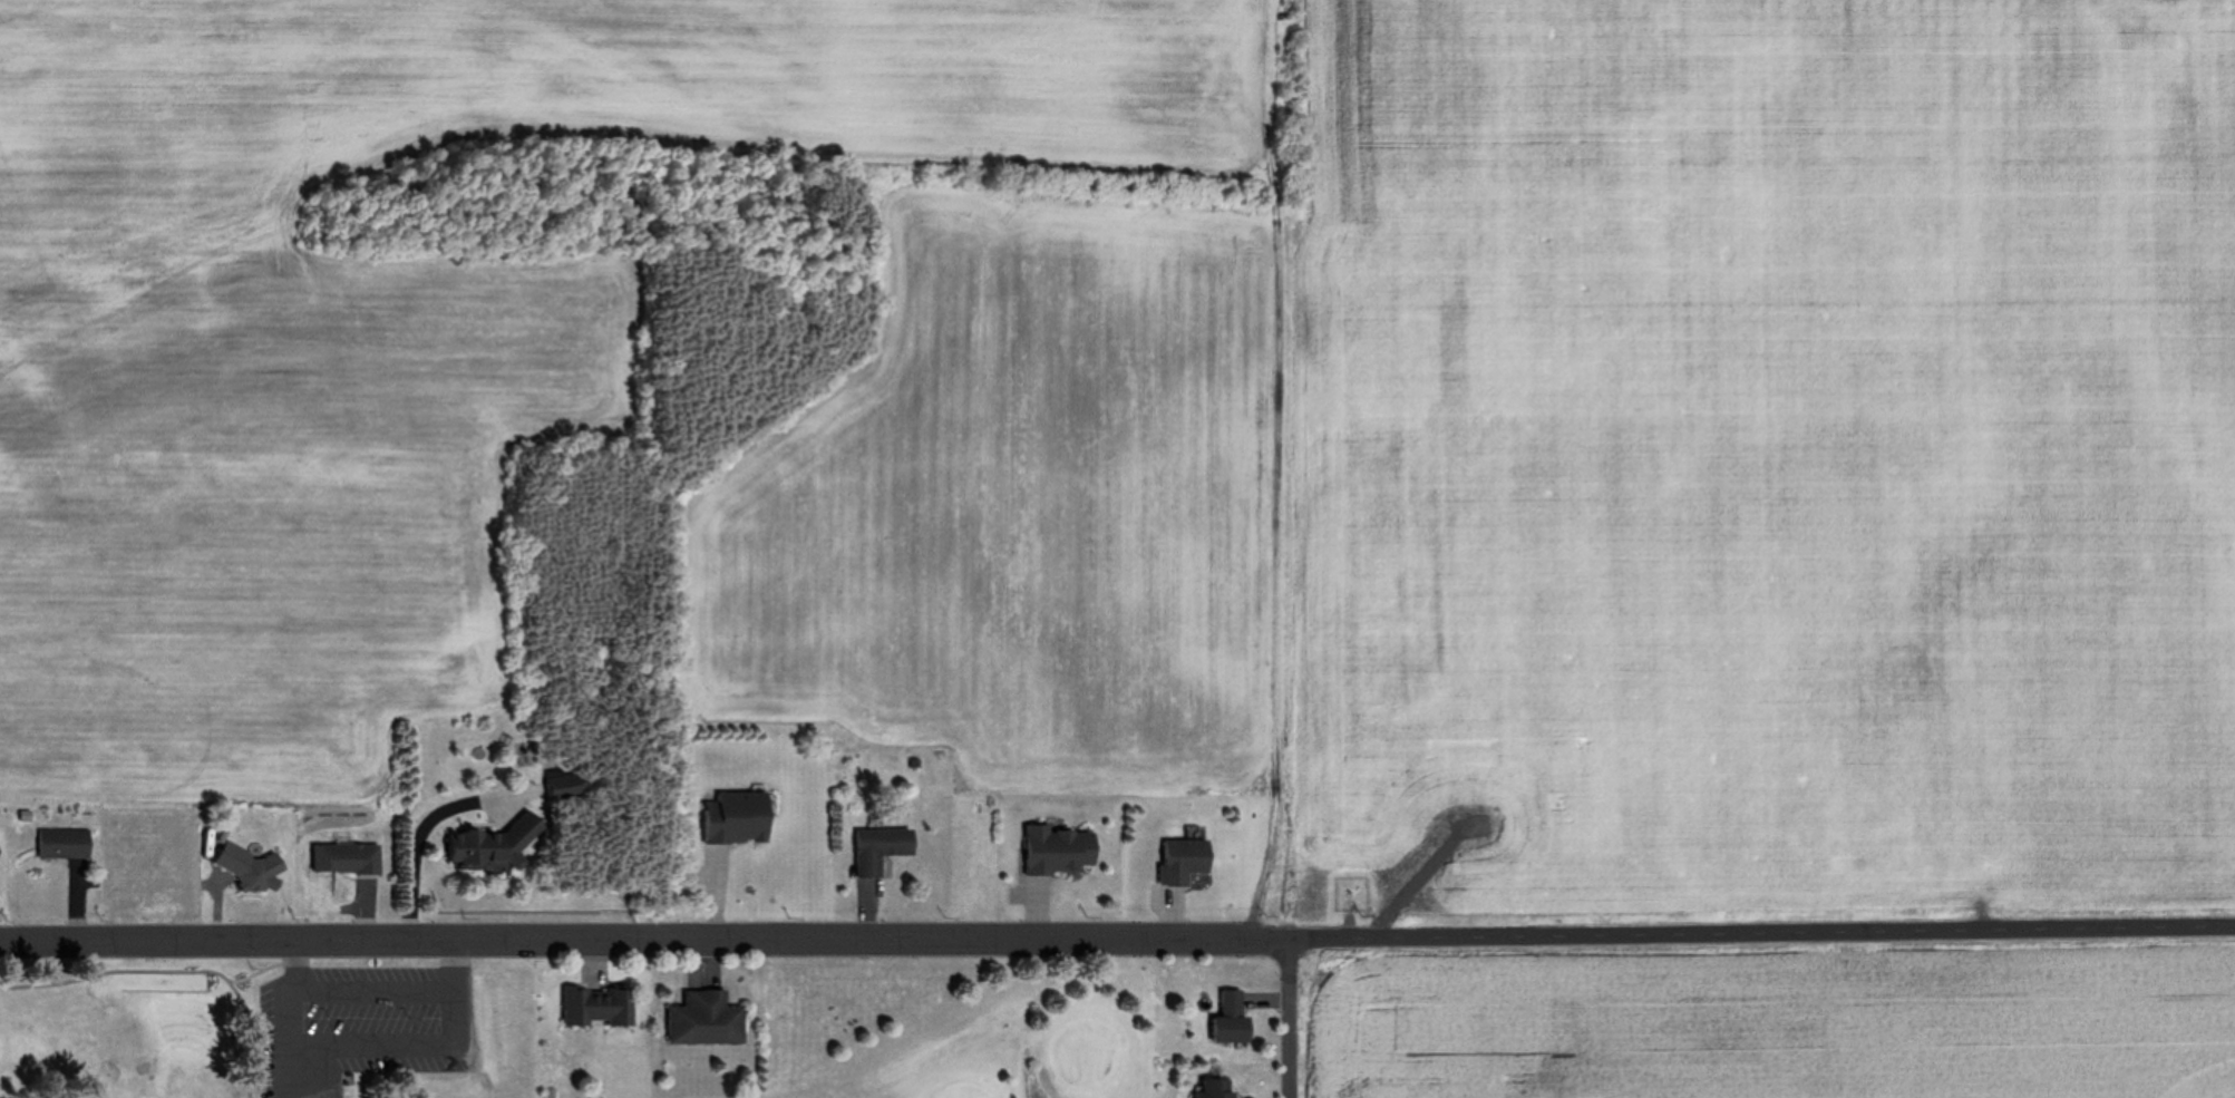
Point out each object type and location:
building: (569, 787)
building: (744, 818)
building: (66, 844)
building: (495, 845)
building: (885, 848)
building: (1063, 851)
building: (349, 858)
building: (1189, 862)
building: (0, 865)
building: (251, 867)
road: (1902, 934)
road: (784, 944)
road: (299, 956)
road: (458, 956)
road: (177, 971)
road: (300, 979)
road: (451, 983)
road: (370, 995)
building: (602, 1004)
building: (710, 1018)
building: (1235, 1018)
road: (1290, 1020)
parking lot: (361, 1026)
park: (243, 1037)
building: (1218, 1087)

